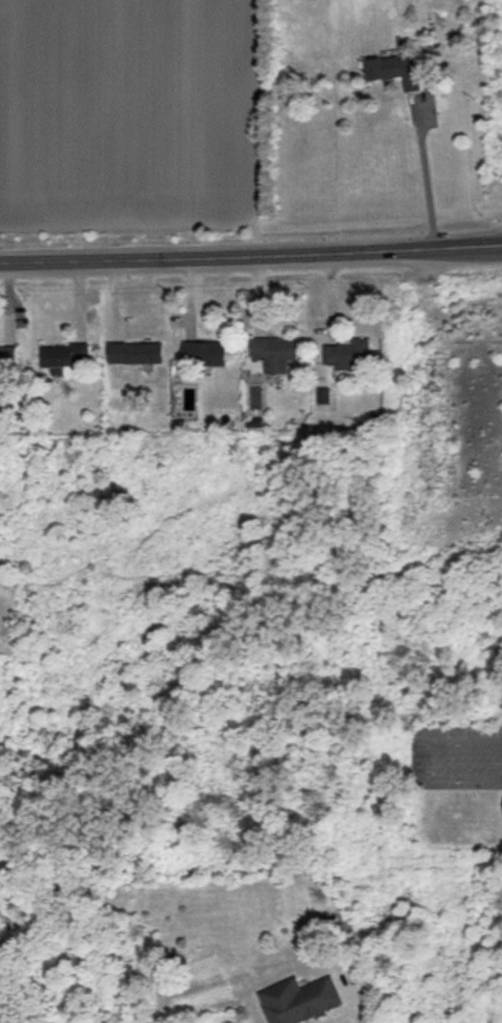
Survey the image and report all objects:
building: (395, 70)
road: (426, 180)
road: (251, 253)
building: (135, 353)
building: (206, 353)
building: (274, 353)
building: (347, 354)
building: (64, 355)
building: (7, 358)
road: (422, 760)
building: (299, 1000)
road: (356, 1001)

